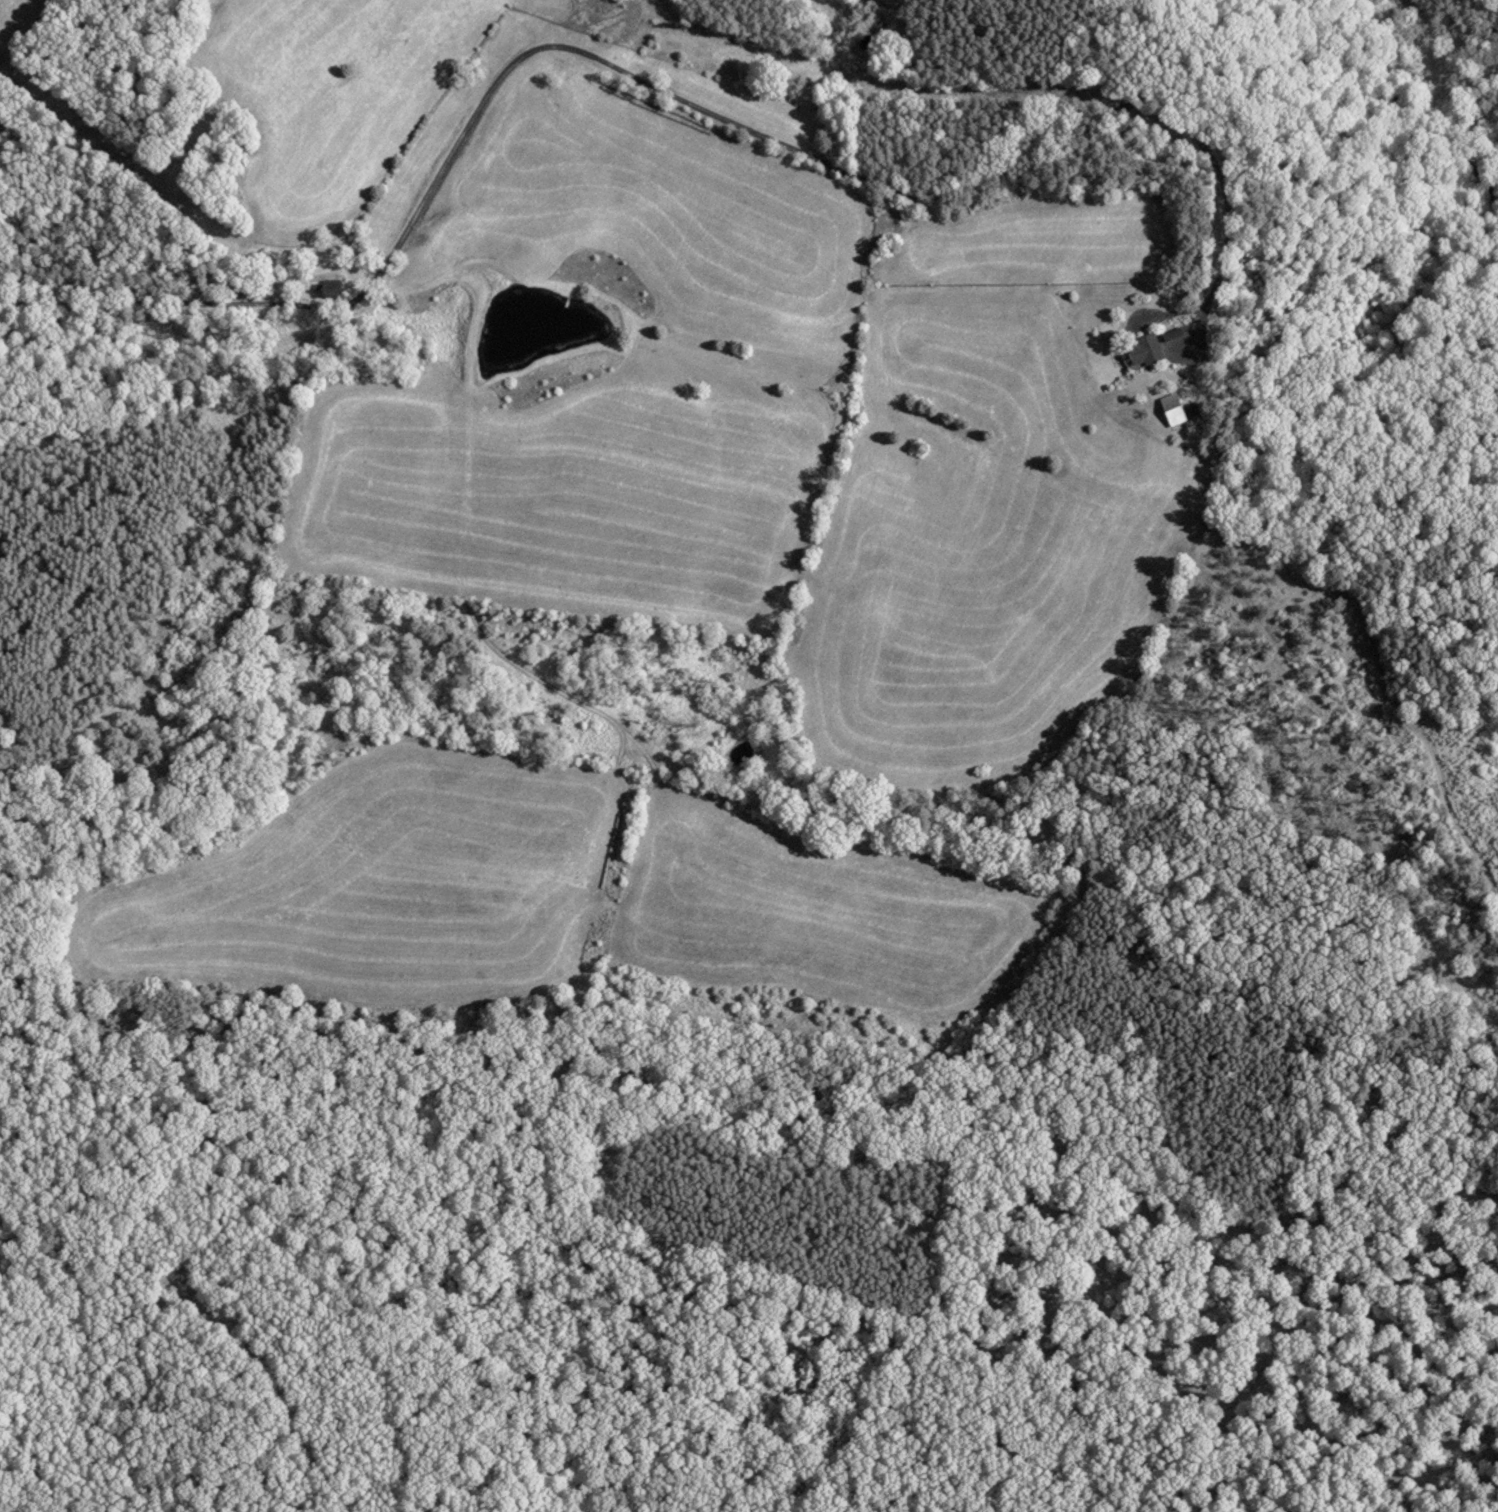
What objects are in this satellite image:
building: (331, 291)
building: (1145, 351)
road: (430, 364)
building: (1174, 410)

